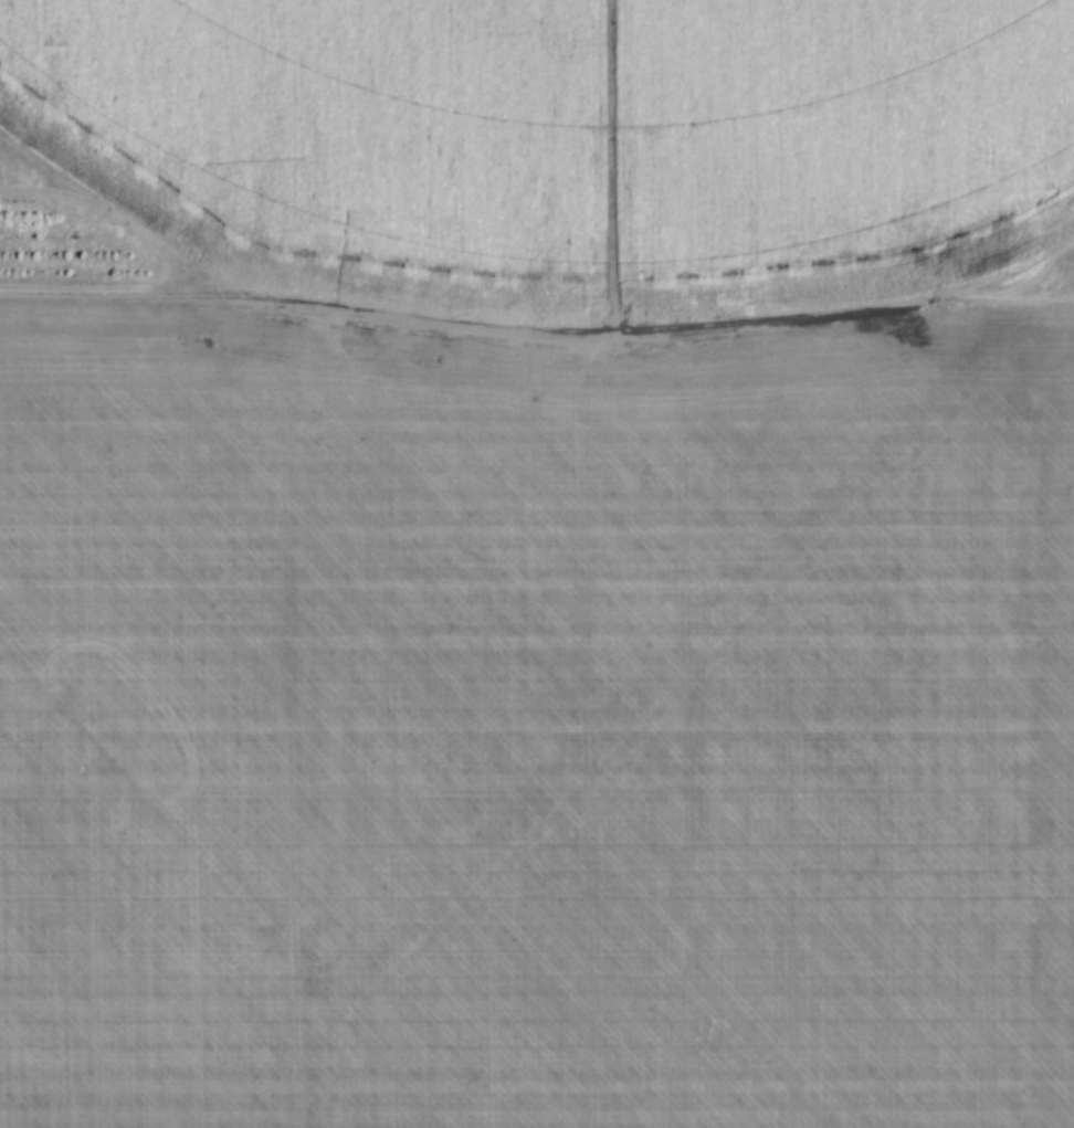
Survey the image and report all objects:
crop: (543, 570)

